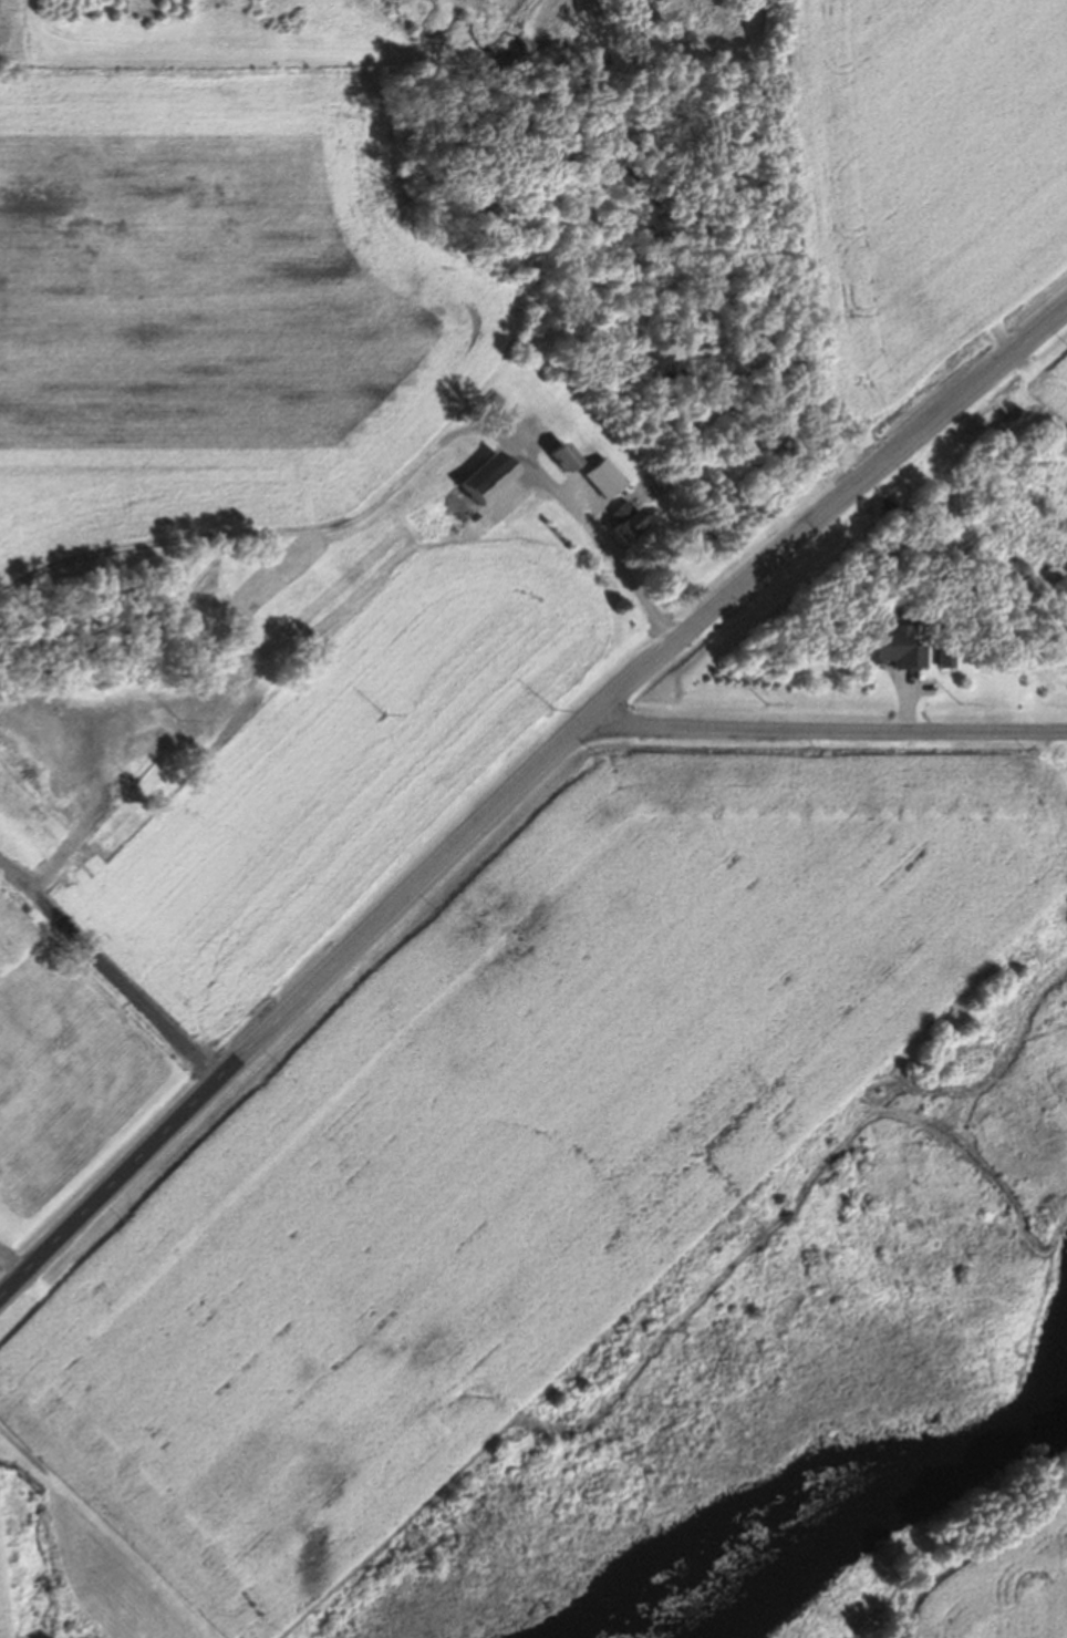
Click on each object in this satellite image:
building: (556, 461)
building: (598, 483)
building: (478, 485)
building: (619, 526)
road: (591, 533)
building: (882, 652)
road: (828, 732)
road: (519, 787)
road: (11, 1266)
river: (867, 1524)

